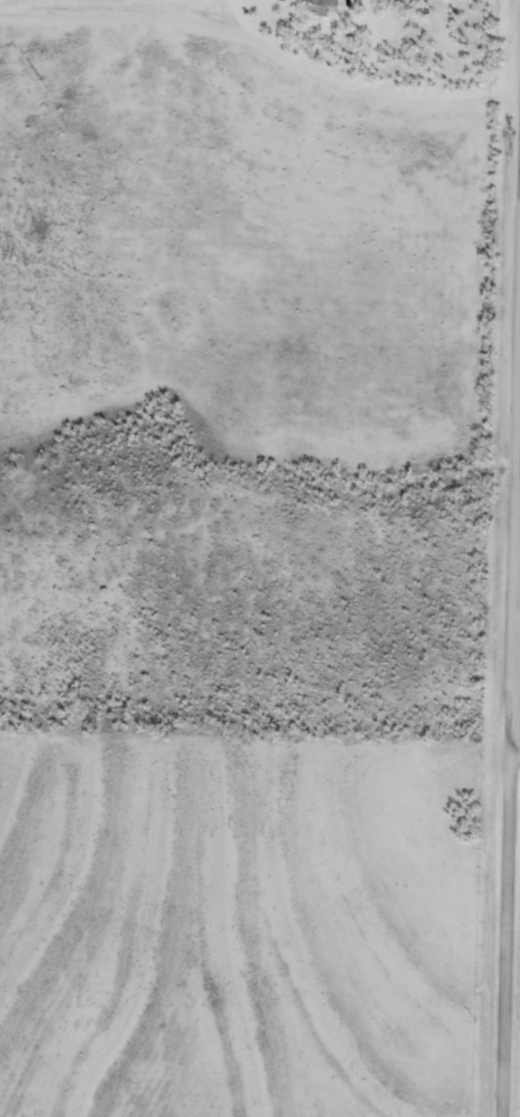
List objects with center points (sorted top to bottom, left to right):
road: (508, 9)
power tower: (44, 85)
road: (516, 755)
road: (511, 795)

